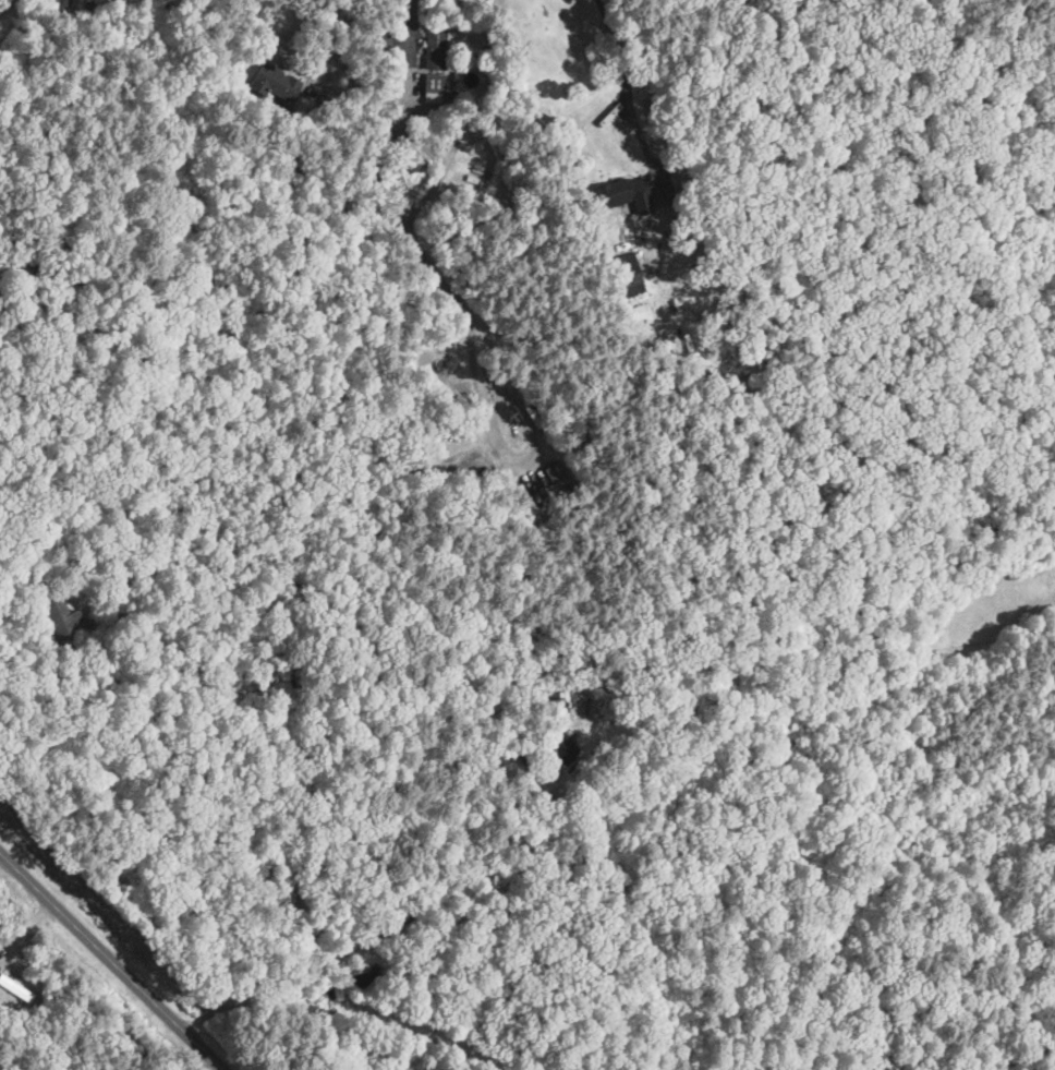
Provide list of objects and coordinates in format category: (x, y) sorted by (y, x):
road: (324, 35)
building: (435, 48)
building: (439, 83)
road: (627, 83)
building: (274, 84)
road: (389, 165)
building: (624, 193)
building: (3, 270)
building: (629, 273)
road: (524, 450)
building: (62, 621)
building: (562, 748)
road: (383, 930)
road: (111, 962)
building: (15, 988)
road: (197, 1063)
road: (10, 1066)

